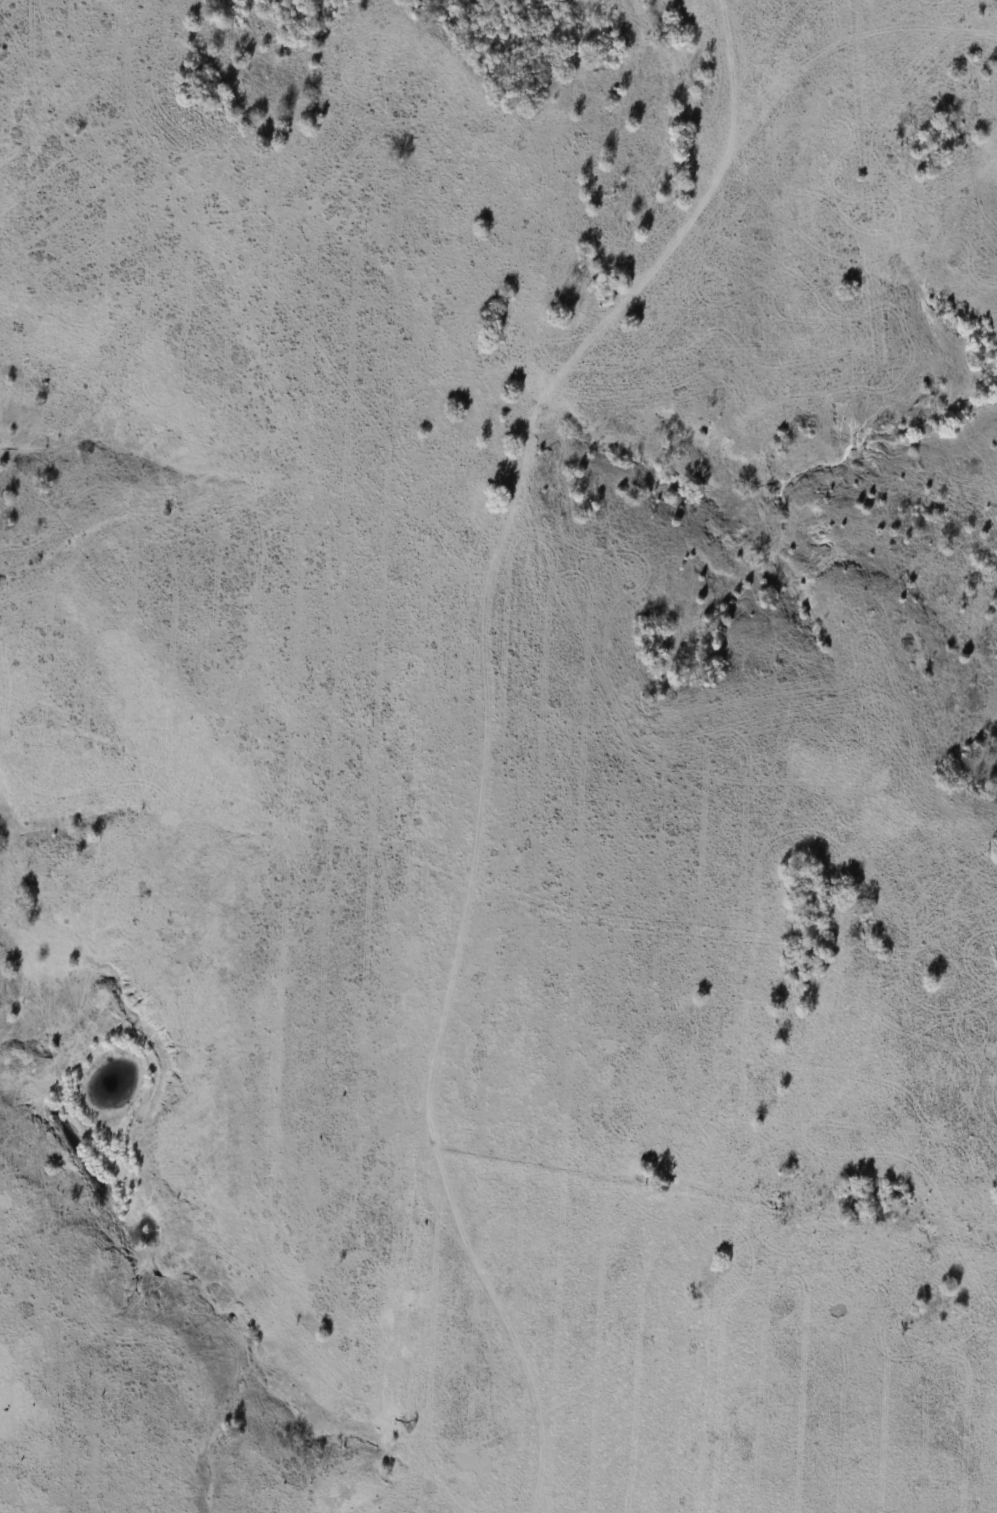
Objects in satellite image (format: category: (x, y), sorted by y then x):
road: (482, 741)

